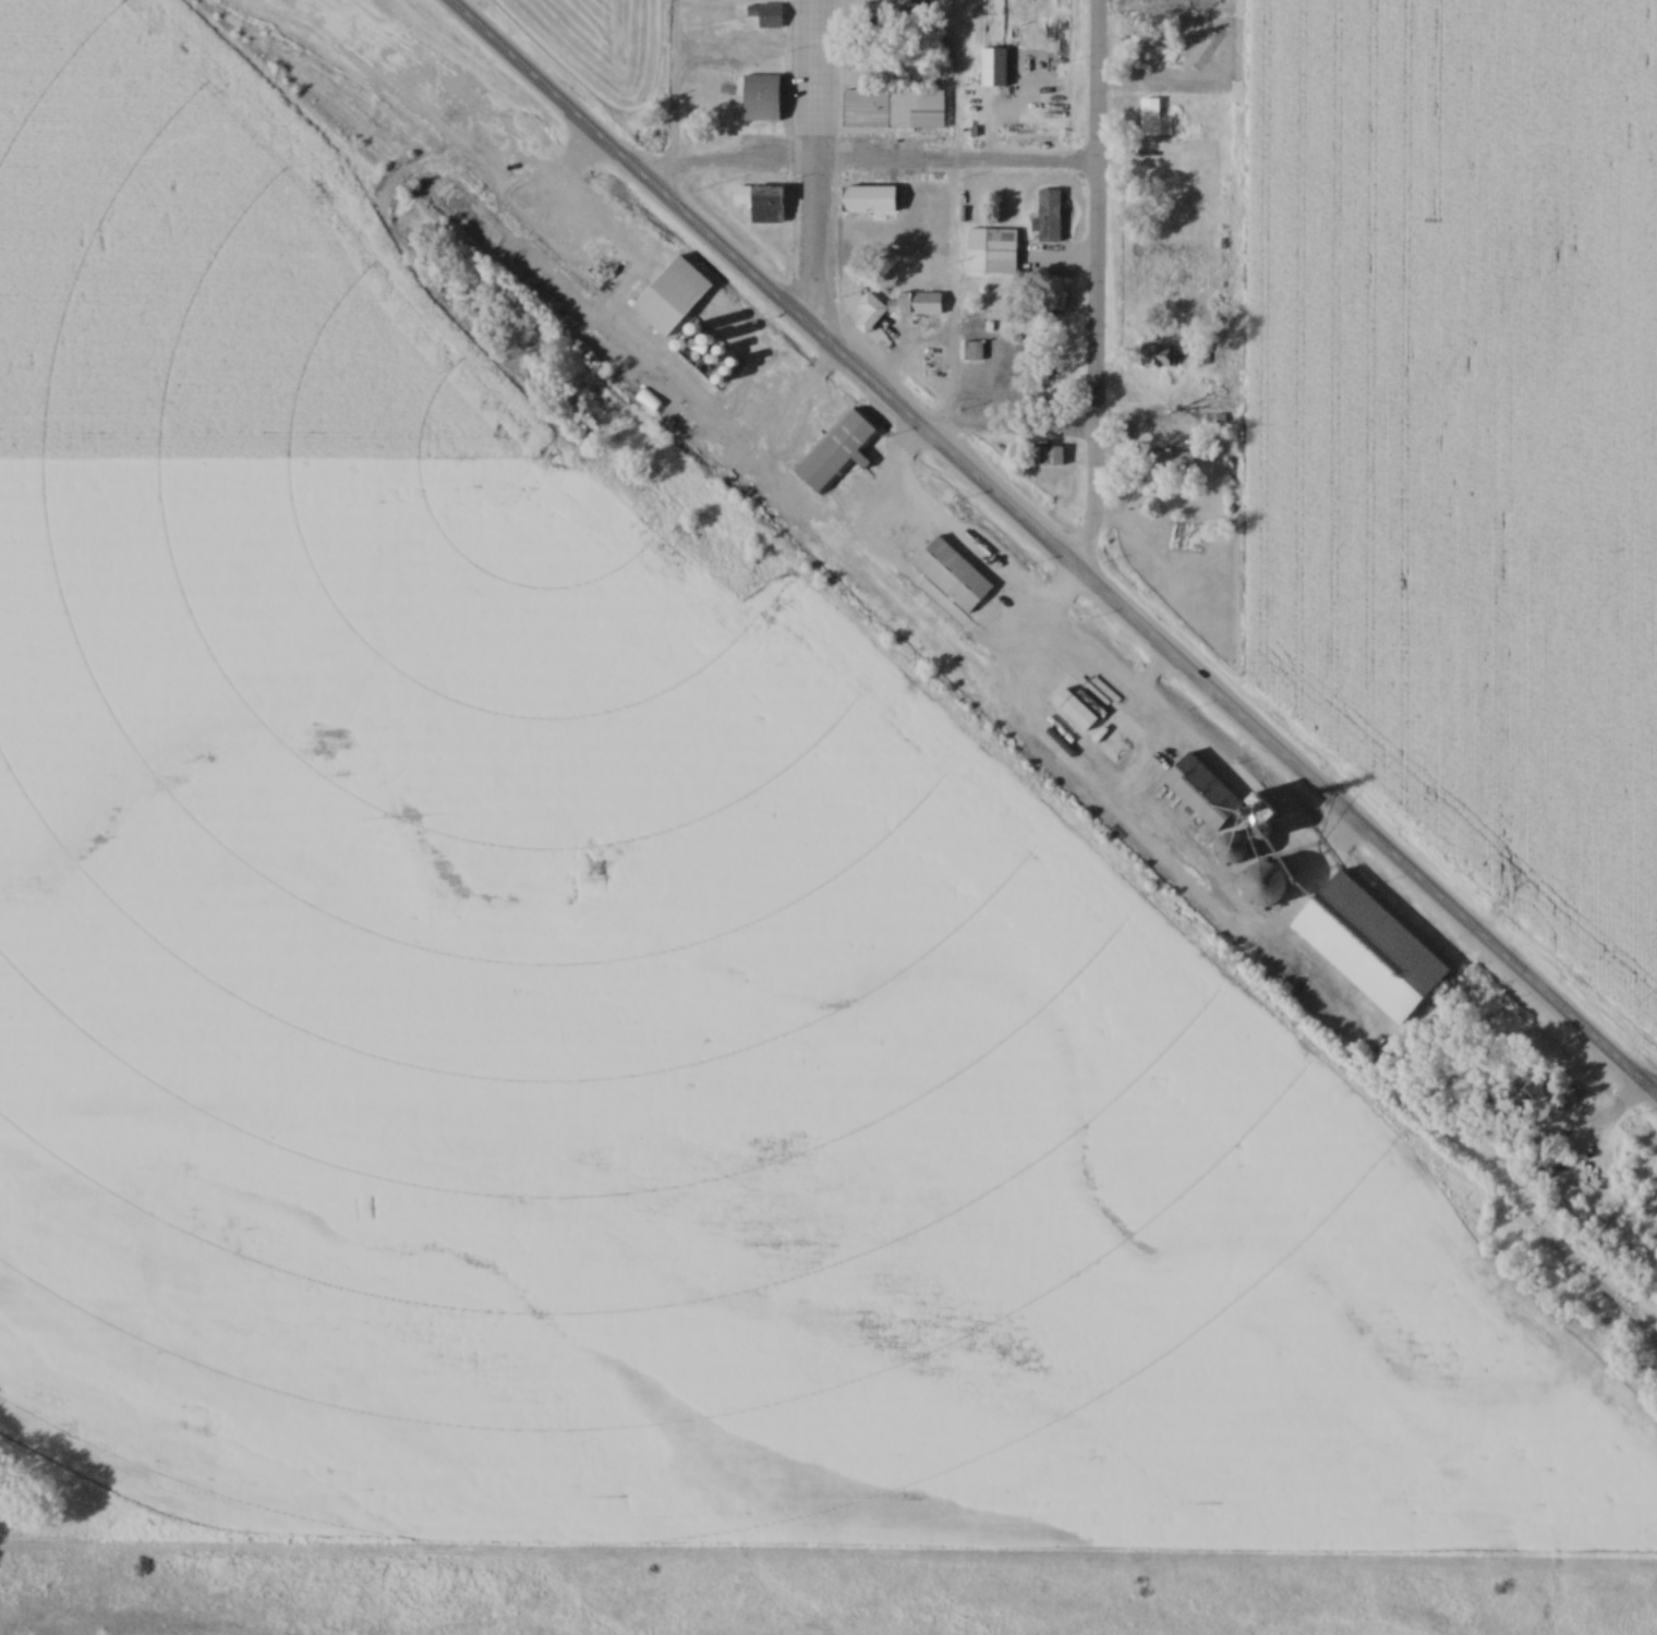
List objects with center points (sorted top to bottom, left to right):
building: (765, 16)
building: (1159, 52)
building: (992, 69)
building: (870, 71)
building: (760, 99)
building: (893, 110)
building: (1149, 118)
road: (480, 123)
road: (576, 167)
road: (813, 168)
road: (869, 172)
building: (868, 201)
building: (761, 203)
building: (1048, 216)
building: (1000, 251)
road: (1093, 288)
building: (670, 296)
building: (898, 307)
building: (1158, 356)
building: (932, 360)
road: (1008, 439)
building: (836, 452)
building: (1047, 457)
building: (1170, 459)
road: (964, 547)
road: (1051, 554)
building: (952, 576)
building: (1026, 675)
railway: (939, 676)
road: (1227, 779)
building: (1210, 795)
building: (1241, 849)
building: (1272, 880)
building: (1367, 947)
building: (1521, 1089)

